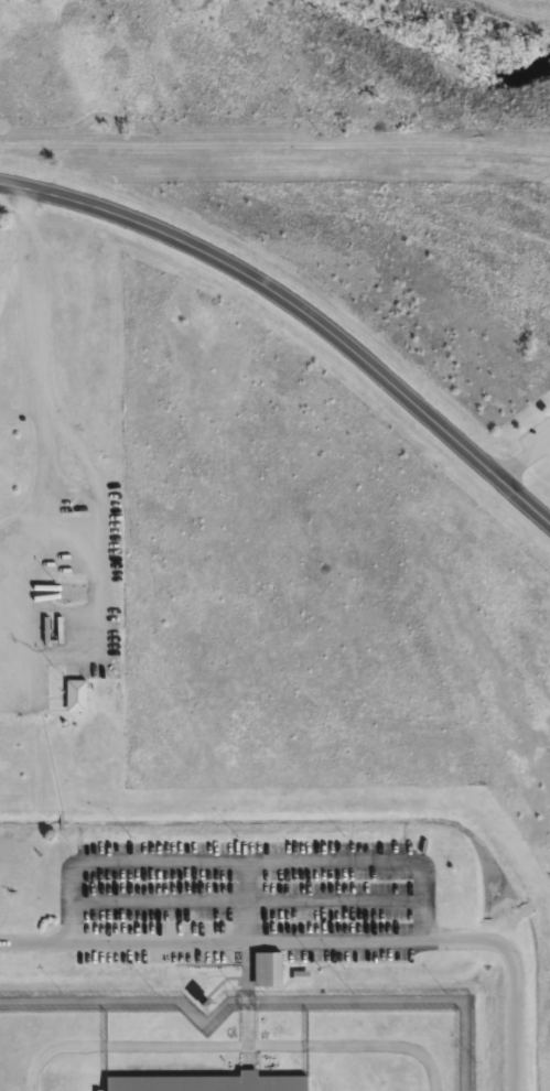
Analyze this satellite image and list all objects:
road: (298, 312)
building: (78, 695)
road: (324, 939)
building: (271, 966)
building: (262, 977)
building: (298, 985)
building: (212, 1082)

